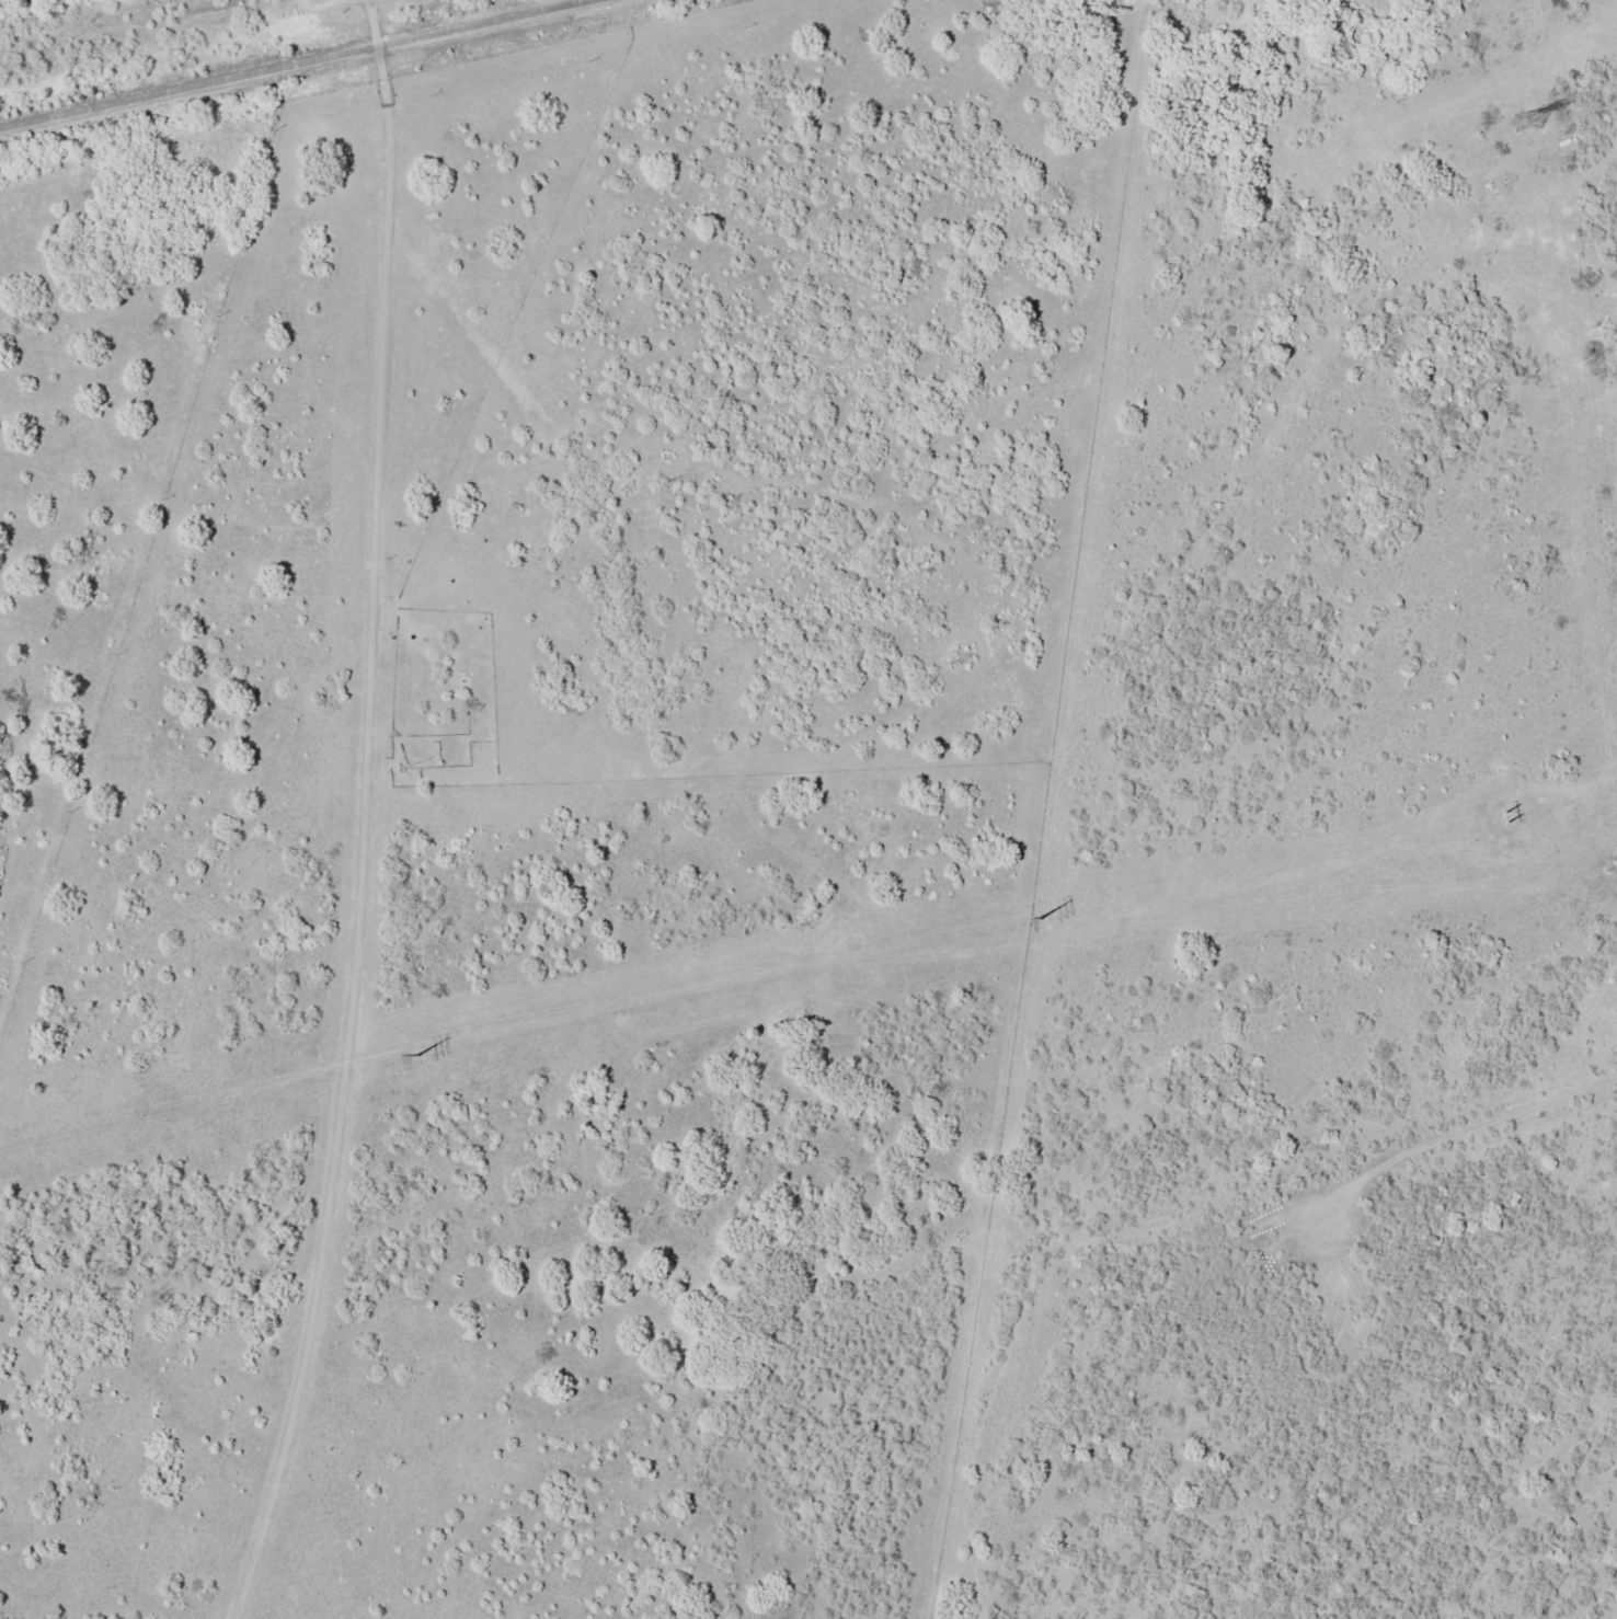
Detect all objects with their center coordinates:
railway: (296, 64)
power tower: (1526, 124)
power tower: (1492, 819)
power tower: (1036, 916)
power tower: (416, 1054)
road: (1501, 1123)

